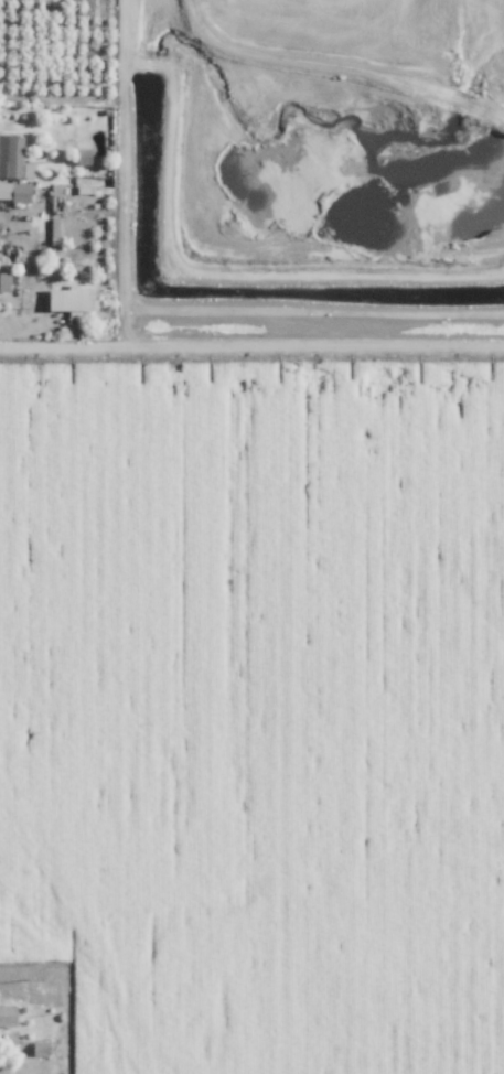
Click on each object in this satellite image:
building: (79, 157)
building: (13, 192)
building: (3, 282)
building: (65, 300)
road: (14, 319)
crop: (251, 728)
building: (9, 1014)

